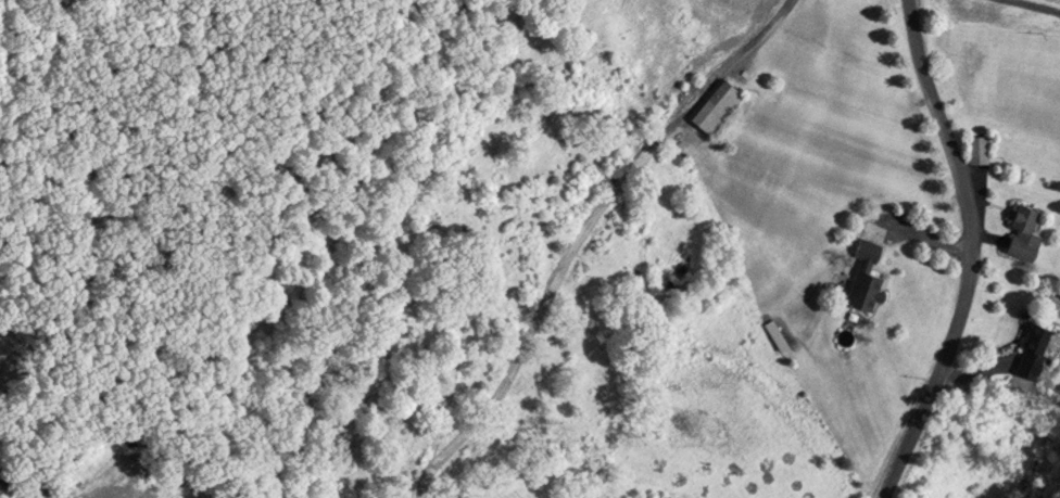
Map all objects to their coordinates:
building: (718, 105)
building: (979, 148)
building: (1024, 231)
road: (959, 250)
building: (867, 274)
building: (1034, 348)

